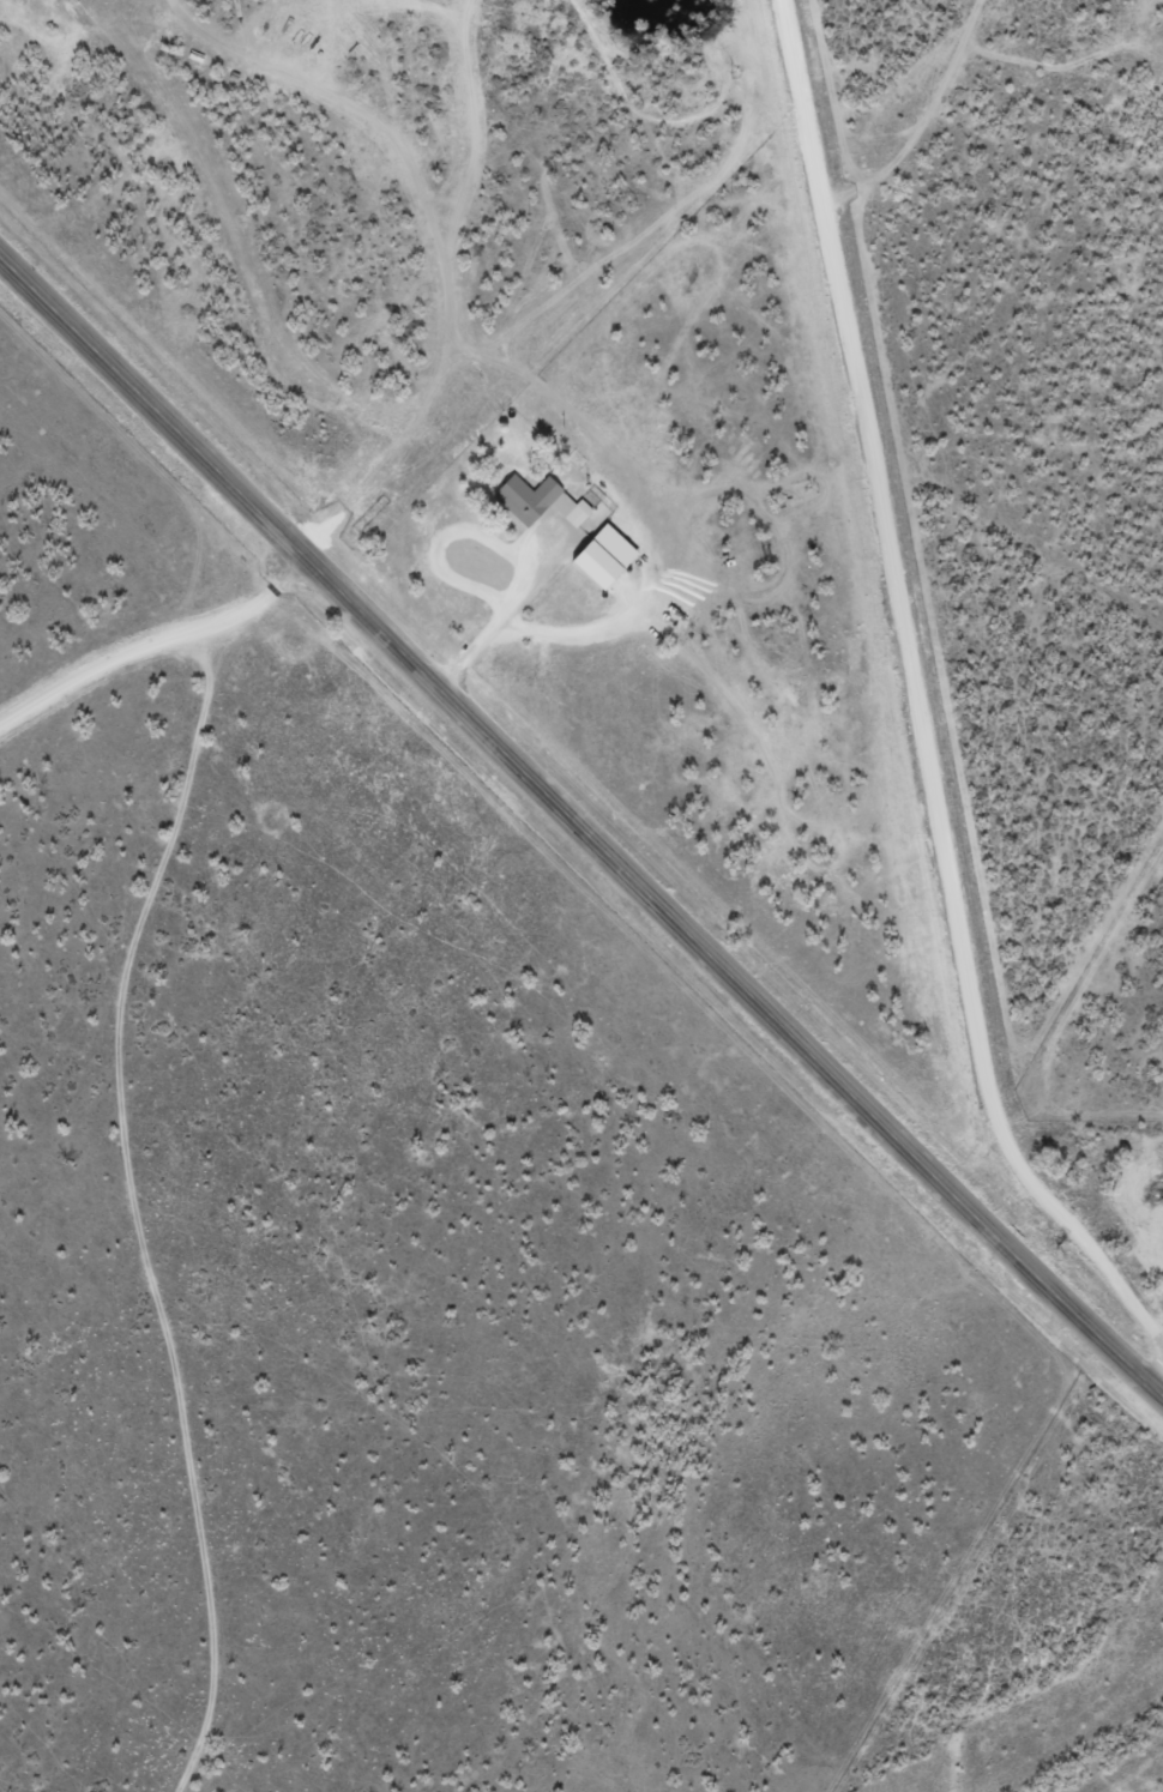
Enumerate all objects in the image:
road: (855, 42)
building: (540, 501)
building: (603, 556)
road: (932, 651)
road: (145, 660)
road: (574, 856)
road: (127, 1165)

